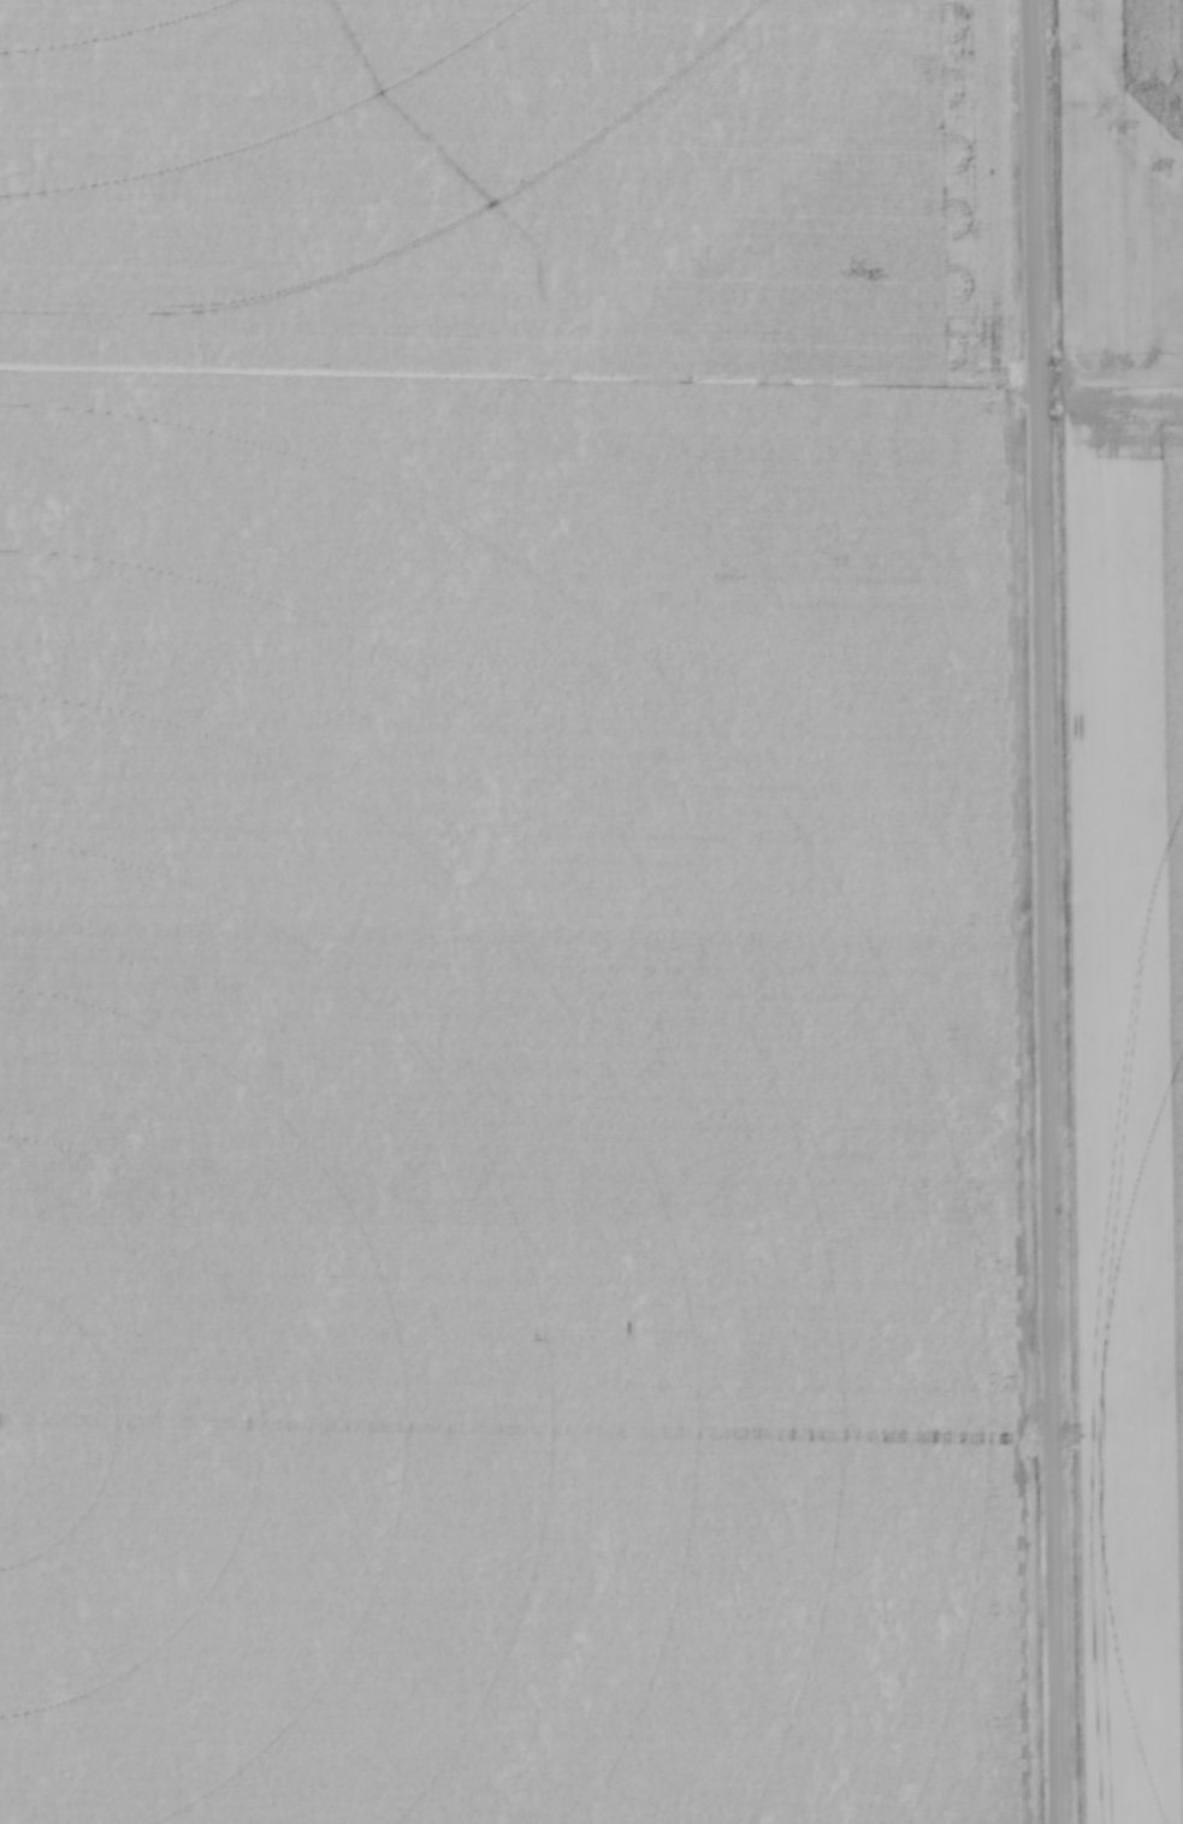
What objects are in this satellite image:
road: (1037, 911)

